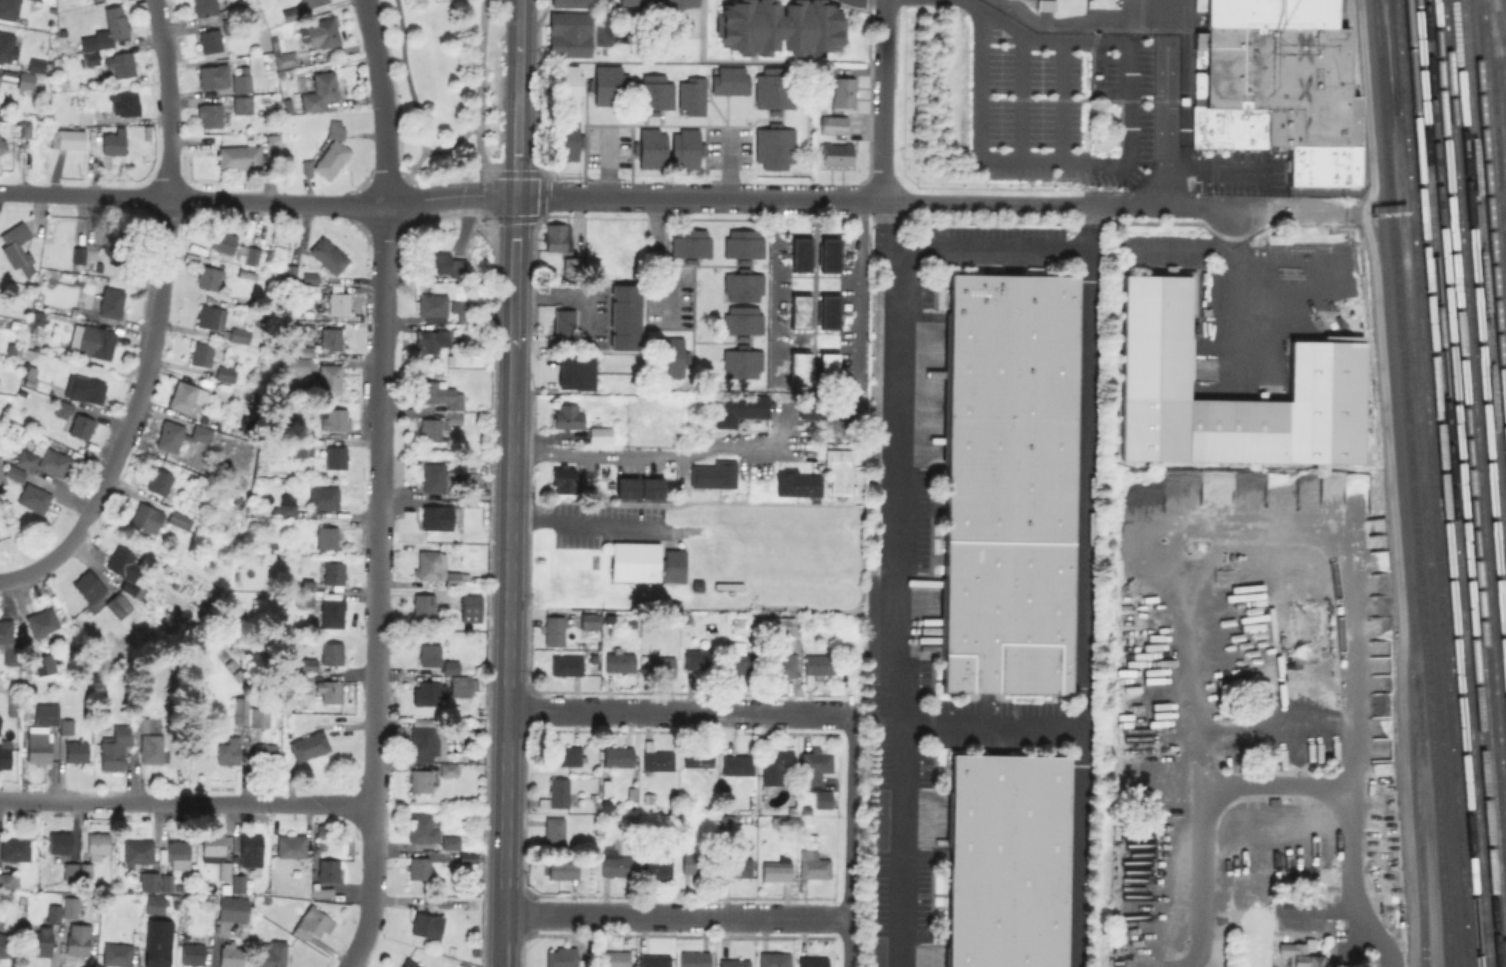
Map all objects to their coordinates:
building: (48, 0)
building: (95, 0)
building: (311, 3)
building: (572, 3)
building: (659, 4)
road: (971, 6)
building: (1045, 6)
building: (17, 7)
building: (204, 8)
building: (234, 9)
building: (290, 13)
road: (602, 20)
road: (518, 21)
road: (1080, 22)
building: (230, 25)
building: (107, 29)
building: (772, 31)
building: (320, 33)
building: (570, 35)
building: (209, 40)
railway: (1497, 40)
building: (7, 47)
building: (282, 56)
railway: (1388, 56)
railway: (1389, 56)
building: (90, 58)
building: (121, 65)
building: (38, 66)
building: (213, 76)
building: (7, 77)
railway: (1504, 80)
building: (25, 81)
building: (241, 81)
park: (445, 84)
building: (563, 85)
building: (608, 85)
building: (724, 85)
building: (1277, 86)
building: (775, 89)
building: (321, 90)
building: (843, 92)
railway: (1498, 93)
road: (1019, 95)
building: (648, 97)
road: (881, 100)
road: (1060, 100)
building: (686, 101)
road: (1164, 102)
road: (476, 103)
building: (126, 104)
building: (241, 105)
road: (414, 109)
building: (210, 116)
road: (516, 118)
building: (9, 120)
building: (833, 124)
building: (25, 129)
building: (71, 140)
road: (451, 140)
building: (563, 141)
building: (113, 142)
building: (2, 147)
building: (650, 148)
building: (685, 149)
building: (775, 149)
building: (328, 153)
building: (837, 154)
building: (239, 157)
railway: (1494, 161)
road: (607, 163)
road: (727, 164)
road: (1116, 165)
road: (1214, 171)
traffic signals: (515, 194)
road: (697, 197)
road: (448, 198)
road: (191, 199)
road: (1056, 203)
road: (880, 210)
road: (1088, 213)
railway: (1489, 223)
building: (556, 235)
road: (1088, 235)
road: (888, 237)
building: (223, 240)
building: (16, 246)
building: (684, 249)
road: (995, 250)
building: (111, 251)
building: (739, 251)
building: (78, 254)
building: (252, 254)
building: (328, 254)
building: (267, 255)
building: (191, 257)
building: (790, 260)
building: (822, 260)
road: (657, 261)
road: (1289, 264)
building: (442, 265)
building: (570, 266)
road: (514, 269)
building: (291, 271)
building: (244, 272)
road: (1232, 272)
building: (208, 276)
building: (310, 277)
road: (773, 278)
railway: (1484, 283)
building: (737, 288)
building: (310, 289)
road: (859, 291)
road: (566, 294)
building: (337, 299)
building: (108, 301)
building: (432, 305)
building: (463, 309)
building: (624, 315)
building: (791, 316)
building: (822, 316)
building: (210, 317)
road: (155, 321)
building: (20, 323)
building: (563, 325)
building: (738, 328)
building: (239, 334)
building: (330, 338)
building: (91, 339)
building: (430, 339)
building: (14, 348)
building: (305, 349)
railway: (1479, 349)
building: (669, 351)
building: (201, 353)
building: (449, 358)
building: (296, 364)
building: (798, 364)
building: (831, 365)
building: (737, 369)
building: (1323, 369)
building: (574, 372)
building: (225, 373)
building: (29, 377)
building: (328, 377)
building: (218, 385)
building: (84, 388)
building: (439, 393)
building: (187, 395)
building: (65, 406)
railway: (1475, 406)
building: (738, 408)
building: (826, 408)
building: (566, 416)
building: (334, 419)
building: (80, 425)
building: (437, 426)
building: (599, 434)
building: (180, 436)
building: (298, 448)
road: (652, 451)
building: (335, 456)
building: (23, 457)
building: (53, 461)
building: (839, 469)
building: (13, 471)
building: (713, 473)
building: (2, 476)
railway: (1470, 476)
building: (434, 477)
building: (472, 477)
building: (562, 478)
building: (158, 480)
building: (1008, 481)
building: (797, 482)
railway: (1401, 483)
railway: (1412, 483)
railway: (1432, 483)
railway: (1441, 483)
railway: (1452, 483)
railway: (1461, 483)
road: (377, 485)
building: (626, 485)
building: (650, 486)
building: (323, 496)
building: (33, 497)
building: (287, 504)
building: (146, 516)
building: (439, 516)
building: (179, 519)
road: (586, 522)
building: (461, 534)
building: (326, 536)
railway: (1426, 539)
building: (645, 561)
building: (436, 568)
building: (126, 570)
building: (335, 571)
road: (1175, 574)
building: (696, 584)
building: (727, 584)
building: (89, 591)
building: (305, 599)
building: (118, 604)
building: (423, 604)
building: (470, 606)
building: (332, 612)
building: (41, 621)
building: (588, 624)
building: (778, 625)
building: (831, 625)
building: (553, 630)
building: (9, 641)
building: (332, 652)
building: (429, 654)
road: (507, 656)
building: (698, 658)
building: (618, 660)
building: (308, 663)
building: (739, 663)
building: (44, 664)
building: (565, 664)
building: (817, 664)
building: (659, 665)
building: (779, 665)
building: (450, 666)
building: (237, 674)
building: (462, 684)
building: (244, 687)
building: (330, 690)
building: (428, 692)
building: (11, 704)
building: (240, 709)
building: (477, 710)
road: (675, 712)
building: (46, 713)
building: (258, 716)
building: (0, 718)
building: (139, 723)
building: (66, 726)
road: (991, 729)
building: (422, 739)
building: (38, 744)
building: (309, 745)
building: (114, 747)
building: (151, 748)
building: (76, 751)
building: (228, 751)
building: (4, 753)
building: (265, 753)
building: (565, 755)
building: (617, 755)
building: (697, 755)
building: (655, 757)
road: (1356, 760)
building: (737, 764)
building: (774, 764)
building: (448, 769)
building: (817, 774)
building: (419, 780)
building: (605, 787)
building: (555, 793)
building: (631, 793)
building: (647, 797)
road: (185, 803)
building: (605, 805)
road: (1202, 820)
railway: (1417, 820)
building: (421, 828)
building: (553, 832)
building: (809, 839)
road: (848, 839)
building: (59, 842)
building: (450, 842)
building: (96, 844)
building: (211, 844)
building: (291, 846)
building: (14, 848)
building: (137, 850)
building: (178, 853)
building: (251, 853)
building: (466, 856)
building: (1006, 860)
building: (613, 863)
building: (694, 863)
building: (812, 864)
building: (735, 866)
building: (419, 868)
building: (656, 868)
building: (328, 869)
building: (562, 869)
building: (776, 869)
building: (70, 870)
building: (84, 870)
building: (224, 870)
building: (8, 881)
building: (148, 881)
building: (166, 882)
building: (85, 883)
building: (239, 883)
building: (325, 891)
building: (153, 904)
building: (68, 906)
building: (233, 908)
building: (53, 913)
road: (675, 917)
building: (312, 923)
building: (427, 925)
building: (39, 939)
building: (77, 939)
building: (157, 943)
building: (6, 945)
building: (269, 953)
building: (116, 954)
building: (191, 954)
building: (1299, 954)
building: (229, 955)
building: (562, 957)
building: (613, 958)
building: (693, 958)
building: (773, 959)
building: (653, 960)
building: (812, 961)
building: (408, 963)
building: (733, 963)

